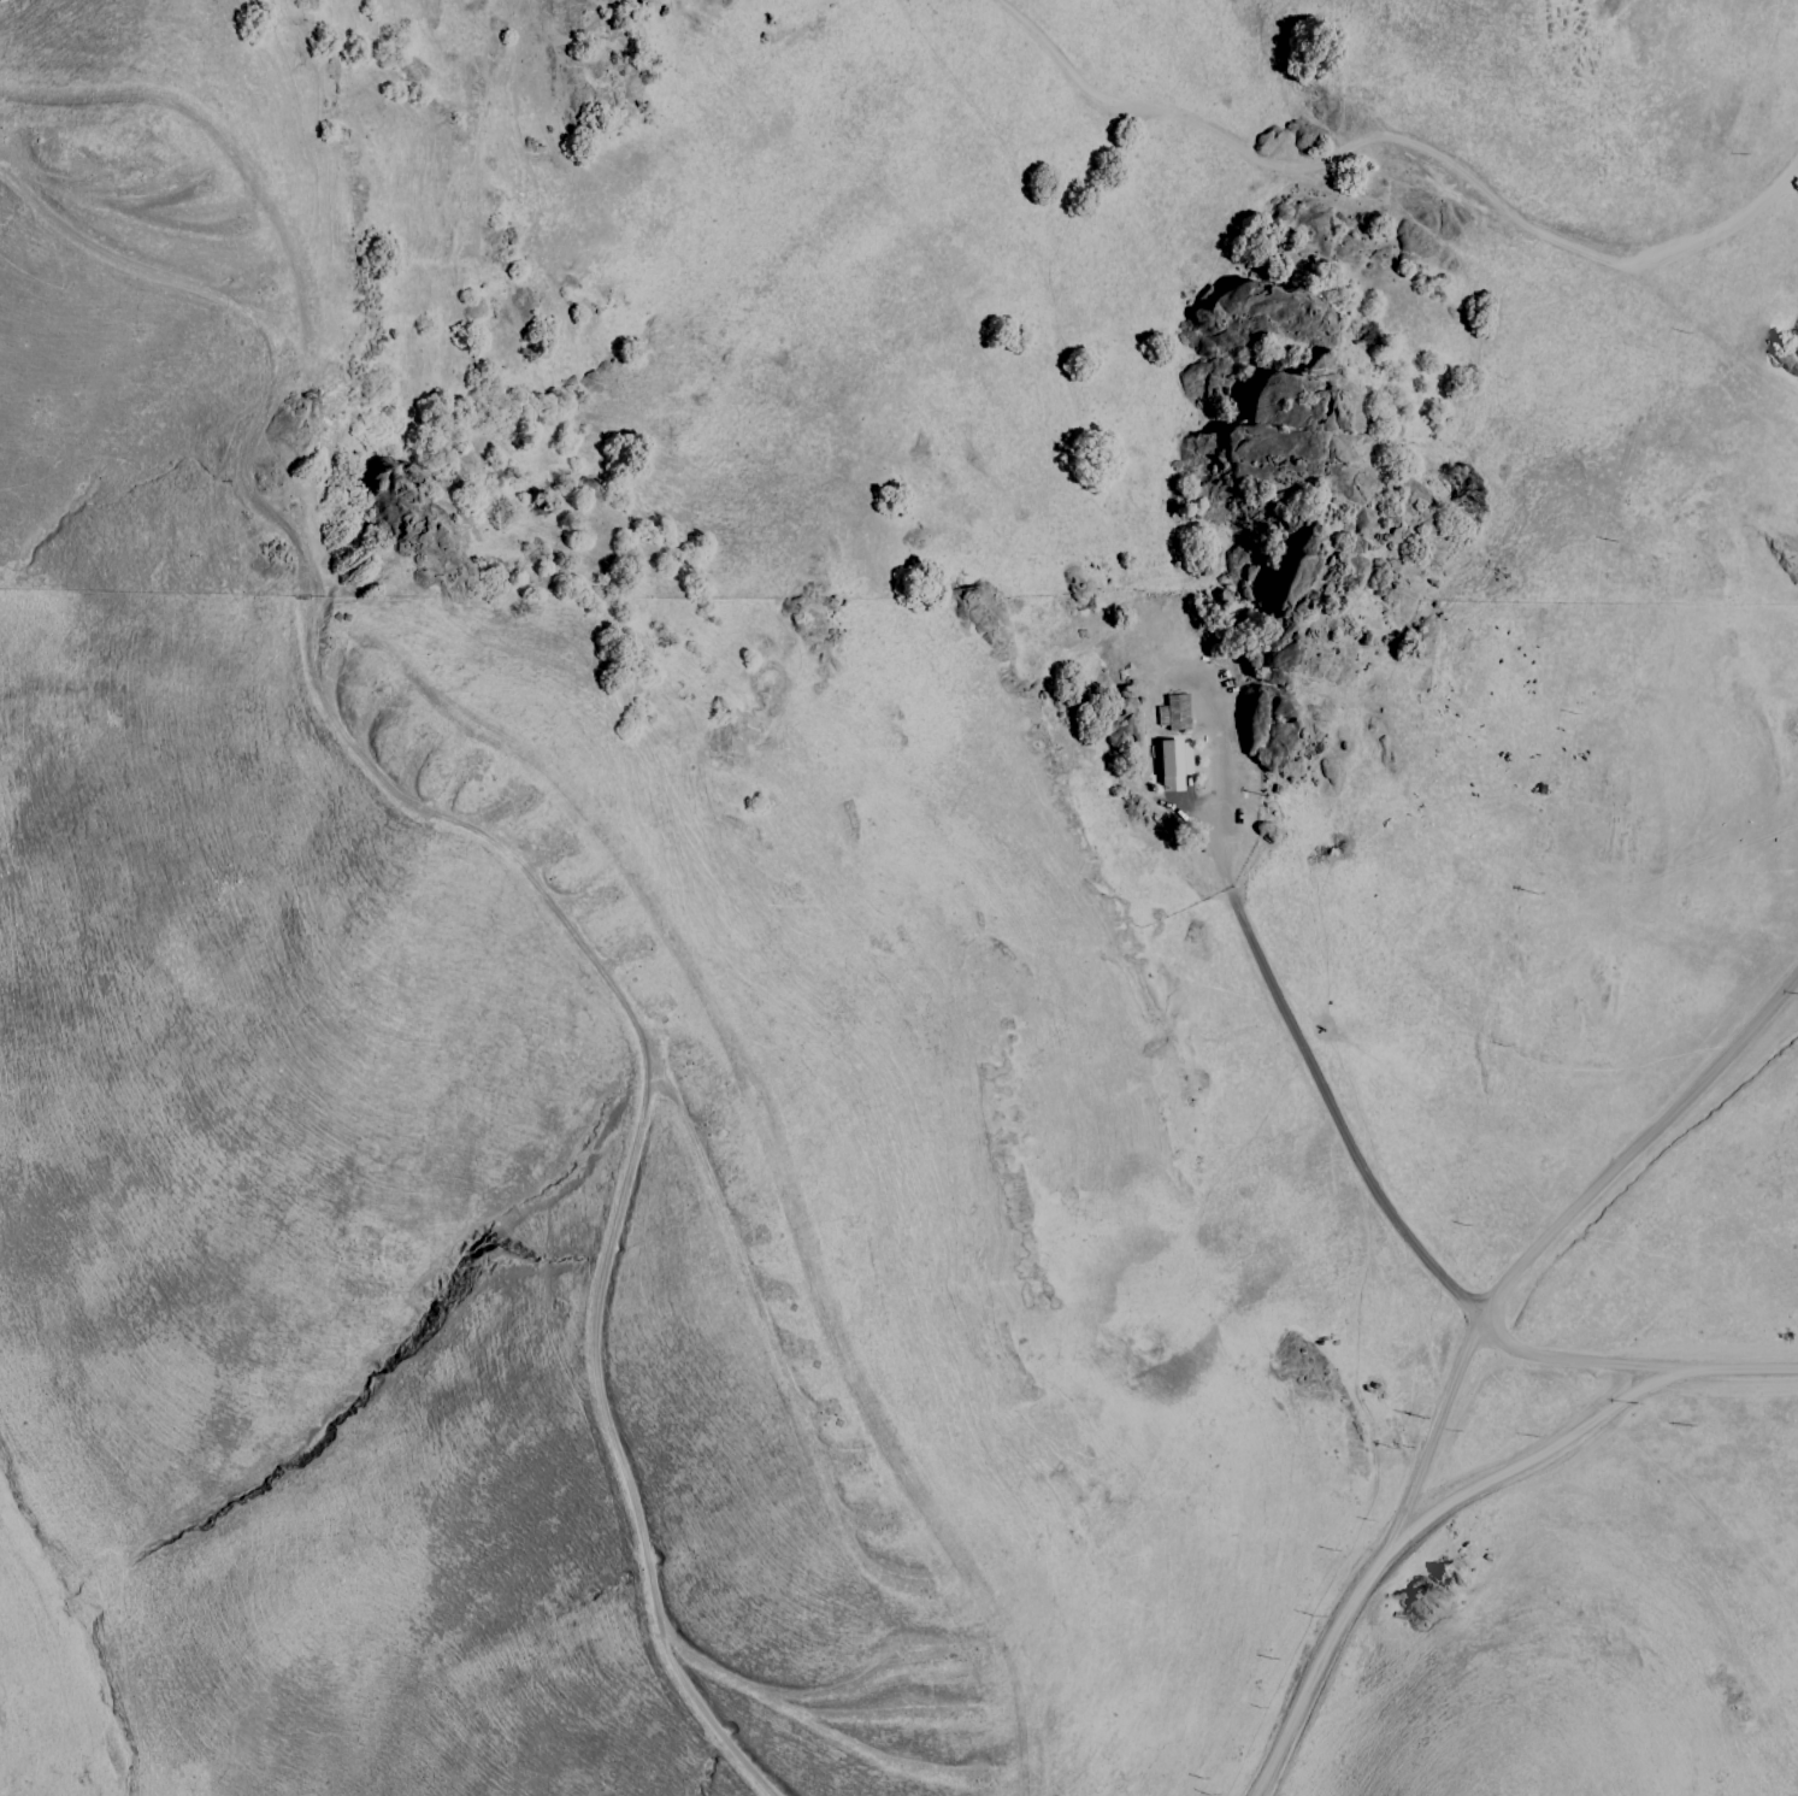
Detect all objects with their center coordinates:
building: (1172, 765)
road: (1284, 1014)
road: (1472, 1349)
road: (770, 1792)

